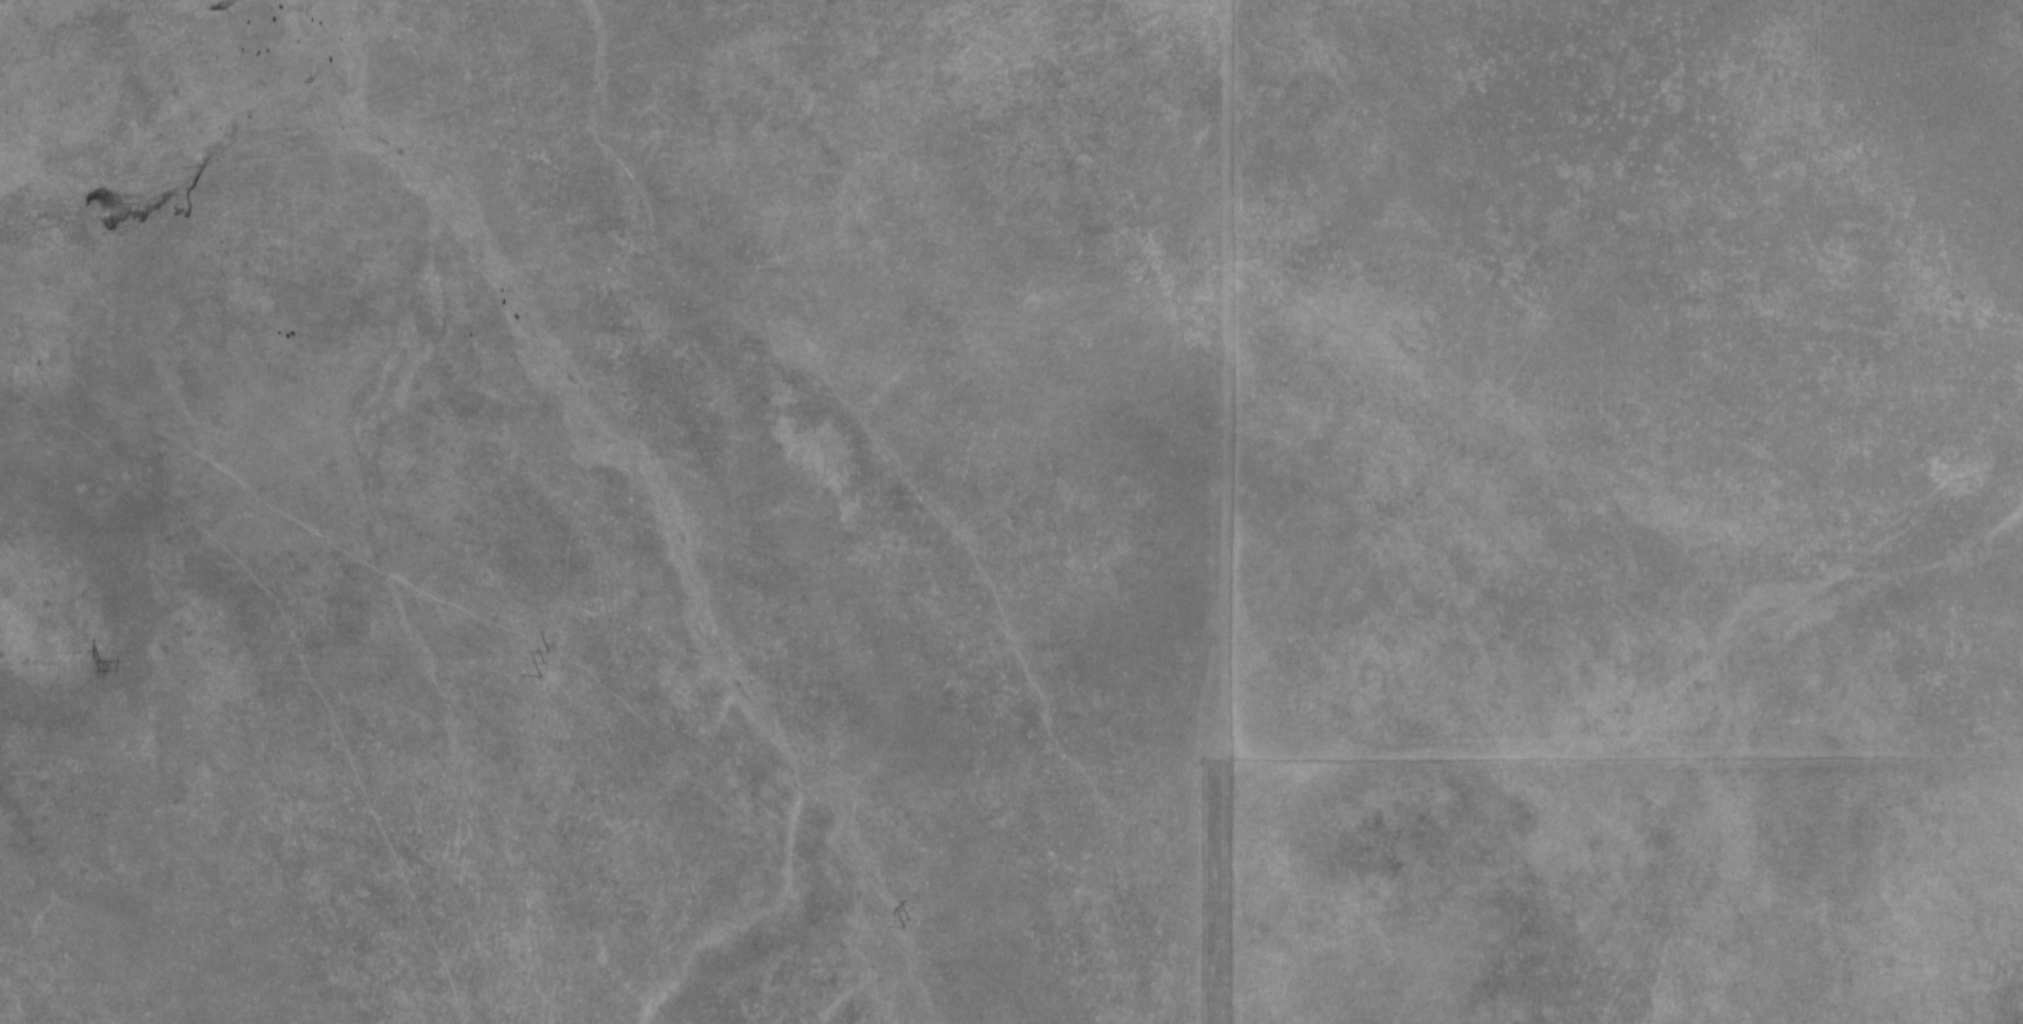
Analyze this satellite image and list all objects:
power tower: (542, 663)
power tower: (98, 665)
power tower: (903, 923)

